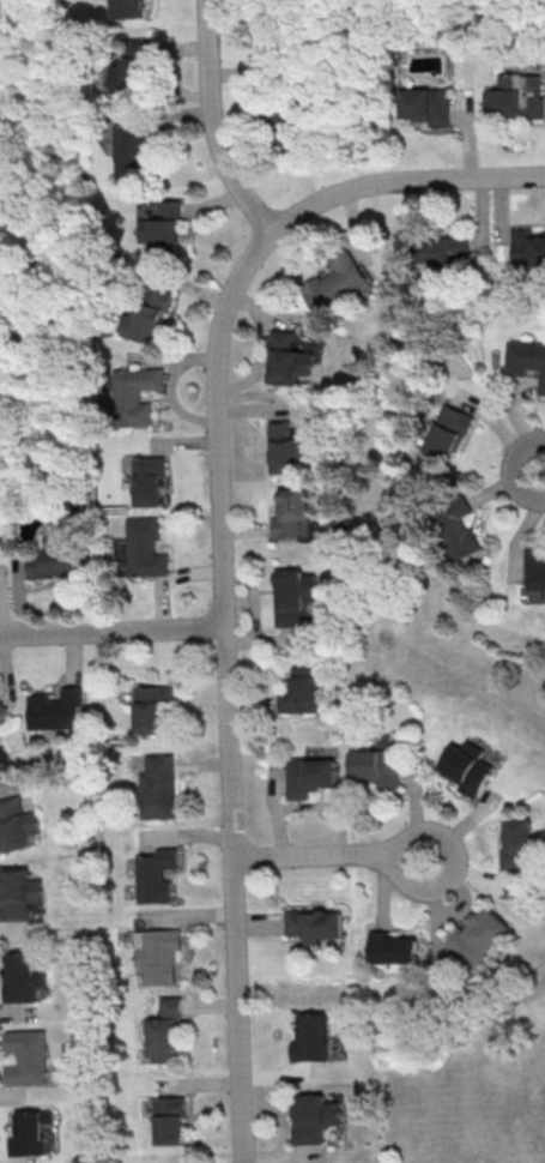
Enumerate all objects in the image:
building: (133, 8)
building: (279, 34)
building: (134, 76)
building: (516, 97)
building: (428, 106)
building: (284, 119)
road: (214, 123)
building: (132, 147)
building: (169, 227)
building: (528, 247)
building: (442, 249)
road: (24, 263)
building: (339, 281)
building: (152, 314)
building: (285, 358)
building: (526, 360)
building: (135, 394)
building: (450, 432)
building: (285, 448)
road: (511, 470)
building: (150, 481)
building: (293, 513)
building: (456, 526)
road: (219, 547)
building: (145, 548)
building: (57, 560)
building: (535, 568)
building: (295, 596)
road: (111, 632)
building: (302, 689)
building: (2, 709)
building: (149, 709)
building: (55, 710)
building: (467, 767)
building: (376, 769)
building: (310, 776)
building: (156, 788)
building: (11, 826)
building: (517, 843)
road: (331, 856)
building: (157, 874)
building: (17, 894)
building: (316, 924)
building: (480, 935)
building: (395, 948)
building: (157, 956)
building: (19, 980)
building: (163, 1030)
building: (313, 1037)
building: (25, 1059)
building: (315, 1117)
building: (171, 1120)
building: (28, 1133)

